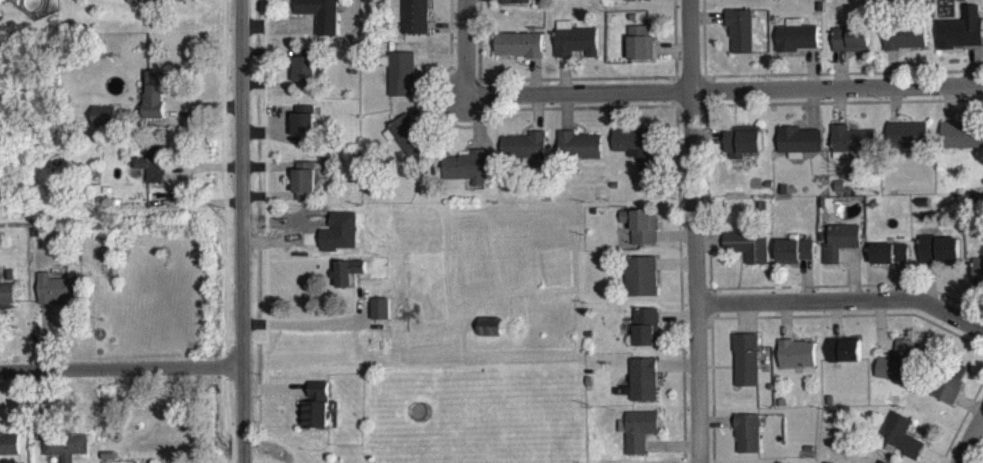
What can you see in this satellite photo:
building: (155, 4)
building: (636, 5)
building: (515, 7)
building: (321, 22)
building: (416, 24)
building: (962, 40)
building: (741, 41)
building: (796, 47)
building: (905, 49)
building: (851, 50)
road: (470, 51)
building: (576, 53)
building: (641, 53)
building: (519, 55)
building: (306, 84)
building: (402, 85)
road: (727, 96)
building: (154, 107)
building: (105, 126)
building: (304, 135)
building: (961, 145)
building: (908, 146)
building: (408, 148)
building: (851, 150)
building: (742, 152)
building: (799, 152)
building: (634, 155)
building: (579, 156)
building: (527, 158)
building: (153, 175)
building: (467, 178)
building: (305, 192)
road: (687, 220)
road: (243, 231)
building: (641, 236)
building: (840, 252)
building: (748, 257)
building: (939, 260)
building: (795, 261)
building: (890, 264)
building: (978, 280)
building: (350, 283)
building: (641, 287)
building: (58, 300)
building: (6, 305)
road: (846, 305)
road: (305, 322)
building: (490, 337)
building: (646, 338)
building: (844, 361)
building: (797, 364)
road: (120, 367)
building: (746, 371)
building: (899, 373)
building: (643, 390)
building: (952, 393)
building: (317, 417)
road: (969, 426)
building: (640, 440)
building: (748, 444)
building: (901, 445)
building: (9, 453)
building: (65, 453)

